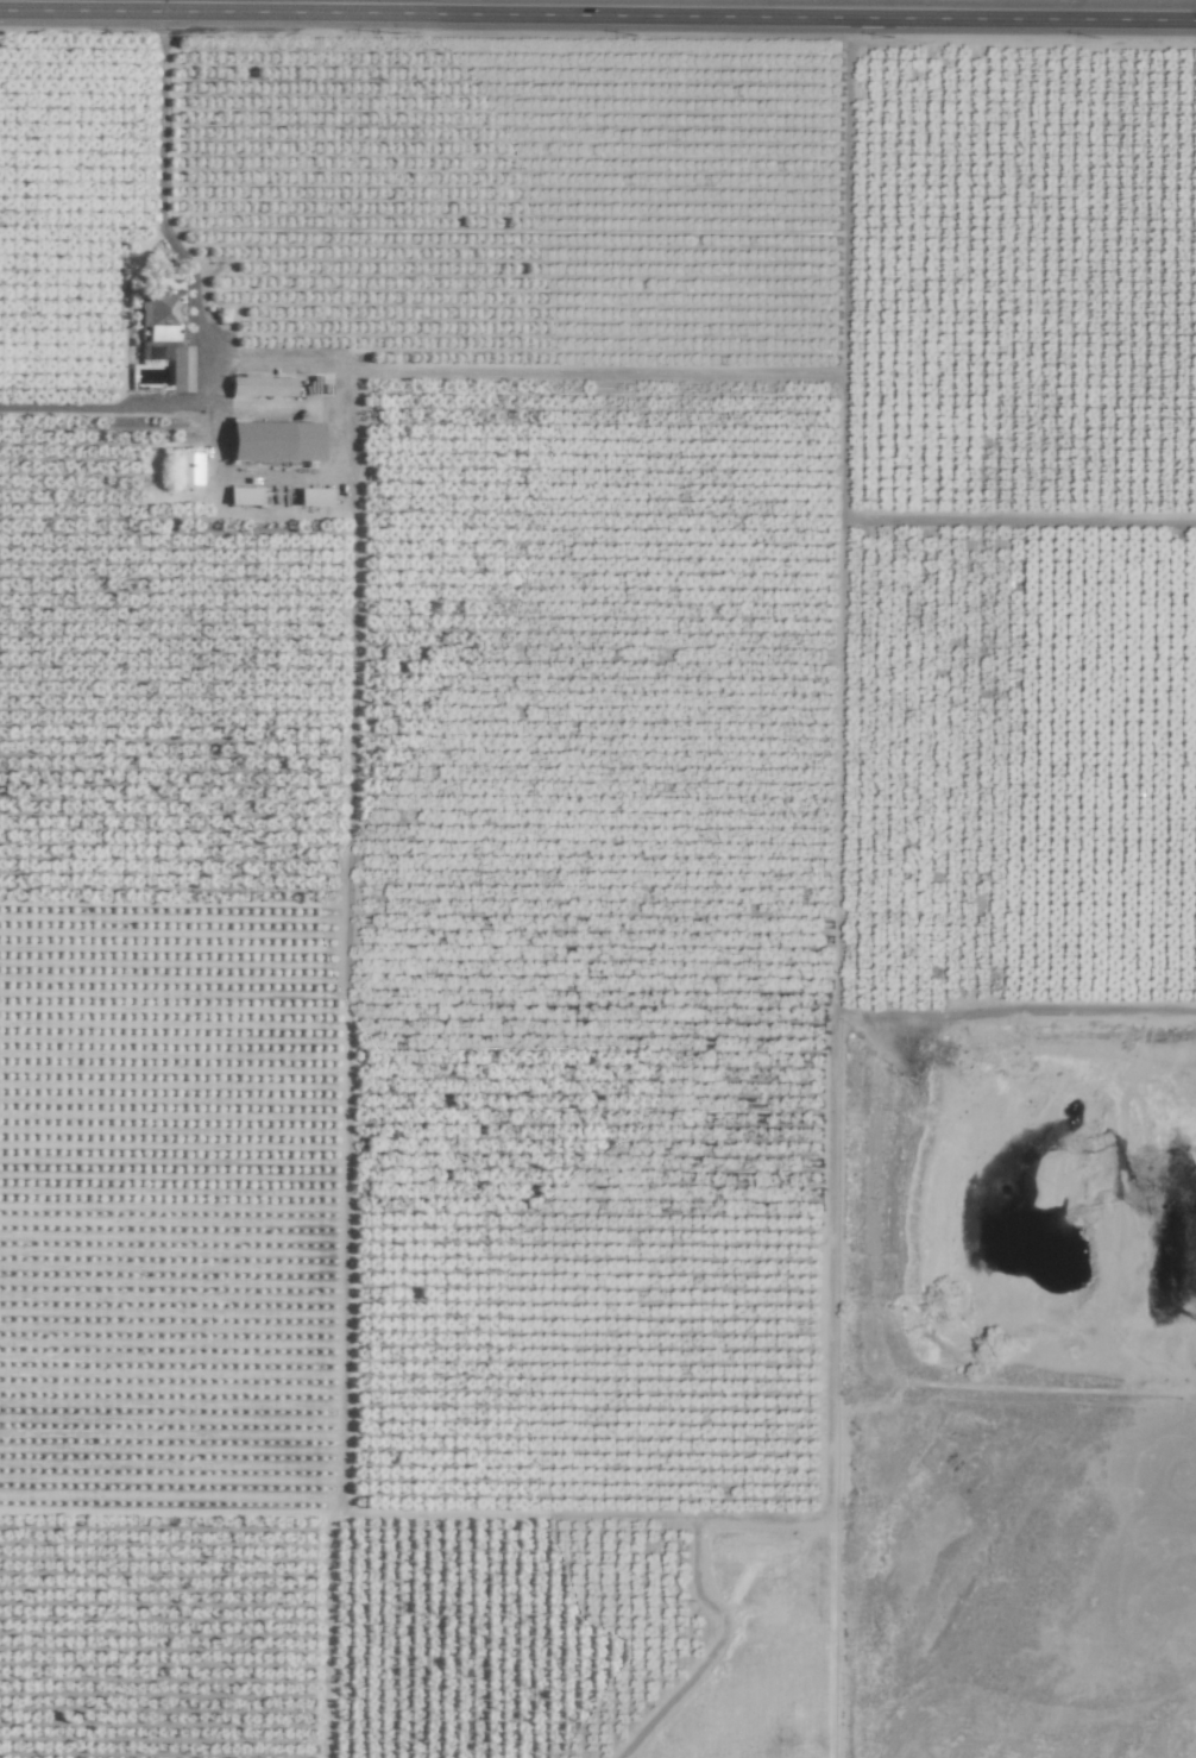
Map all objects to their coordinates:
road: (597, 14)
road: (193, 301)
building: (158, 316)
building: (178, 370)
building: (260, 387)
building: (272, 441)
building: (187, 469)
building: (243, 496)
building: (313, 497)
road: (841, 1200)
road: (849, 1401)

